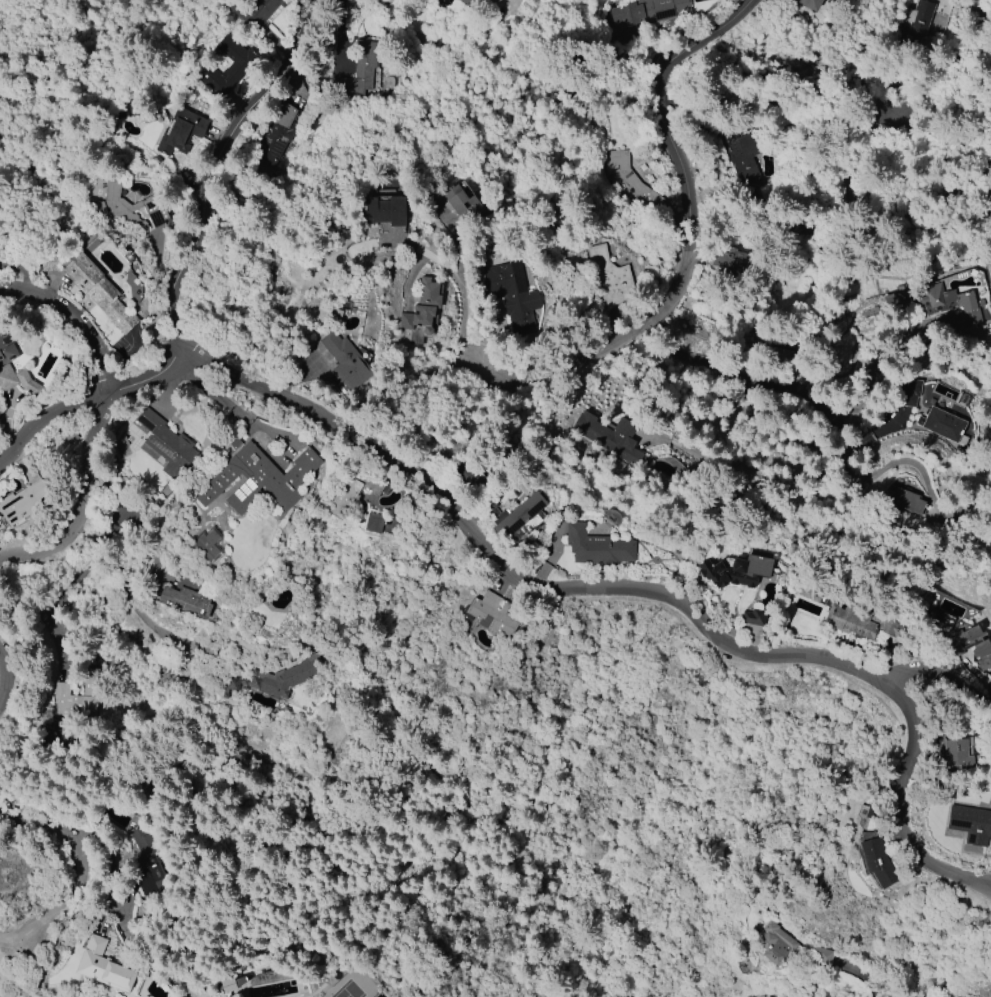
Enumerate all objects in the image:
building: (467, 2)
building: (810, 4)
building: (255, 11)
building: (644, 12)
building: (916, 25)
building: (228, 67)
building: (358, 73)
road: (915, 113)
building: (177, 130)
building: (275, 134)
building: (743, 157)
building: (990, 179)
building: (629, 180)
building: (986, 196)
building: (462, 203)
building: (129, 207)
building: (384, 210)
road: (692, 257)
road: (186, 265)
building: (610, 277)
road: (460, 286)
building: (892, 290)
building: (99, 292)
building: (511, 295)
building: (936, 303)
building: (423, 307)
road: (76, 319)
building: (6, 350)
building: (346, 361)
building: (17, 380)
road: (780, 387)
building: (907, 391)
building: (943, 424)
building: (610, 435)
building: (168, 445)
building: (258, 479)
building: (352, 490)
building: (905, 500)
building: (22, 502)
road: (76, 502)
building: (518, 519)
building: (373, 522)
building: (207, 544)
building: (596, 547)
building: (736, 571)
road: (639, 593)
building: (185, 598)
building: (489, 616)
building: (754, 617)
building: (859, 622)
building: (965, 638)
building: (982, 654)
road: (1, 677)
building: (275, 679)
road: (943, 689)
building: (76, 699)
building: (956, 754)
building: (970, 824)
road: (69, 843)
building: (876, 862)
building: (147, 865)
road: (97, 886)
road: (27, 929)
building: (774, 944)
building: (818, 953)
building: (102, 966)
road: (863, 976)
building: (228, 984)

